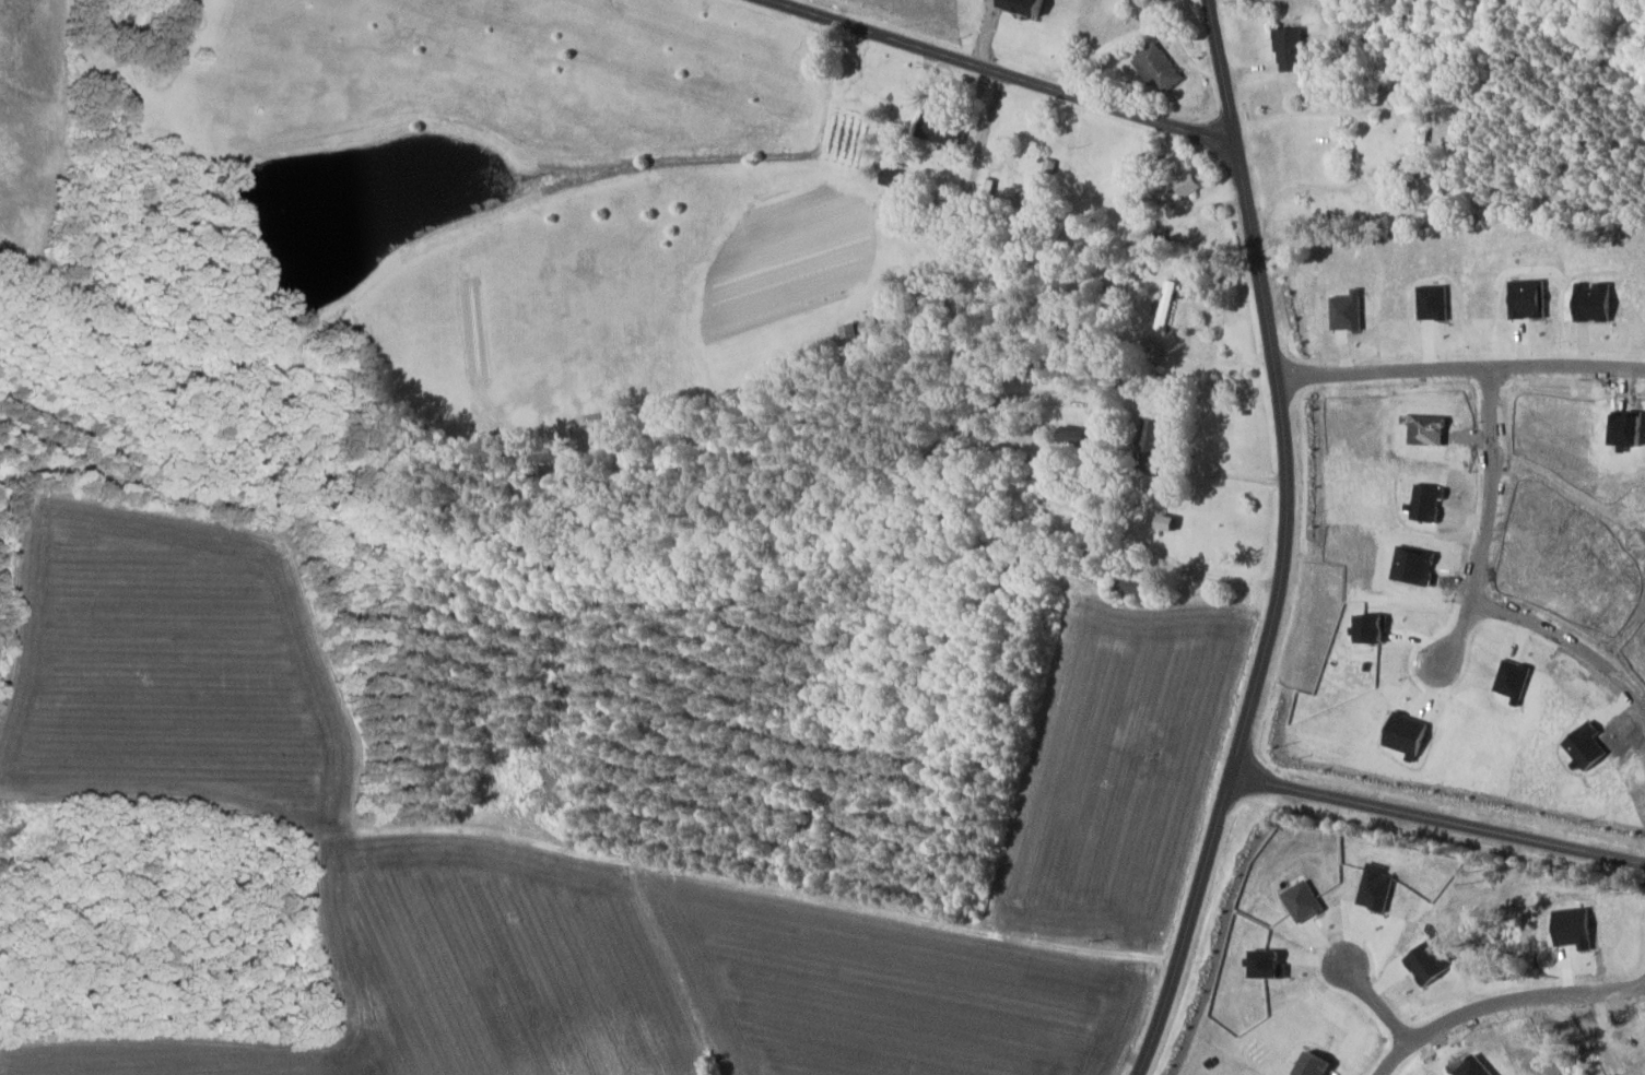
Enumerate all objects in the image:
building: (1145, 2)
building: (1027, 7)
building: (1291, 50)
building: (1159, 68)
road: (1000, 73)
building: (950, 134)
building: (893, 176)
building: (1187, 186)
building: (860, 329)
road: (1459, 368)
building: (599, 422)
building: (1074, 436)
road: (1231, 474)
road: (1485, 520)
building: (1170, 521)
road: (1283, 544)
road: (1161, 550)
building: (1137, 586)
road: (1568, 641)
road: (1437, 815)
road: (1000, 910)
road: (1384, 997)
road: (1500, 1001)

